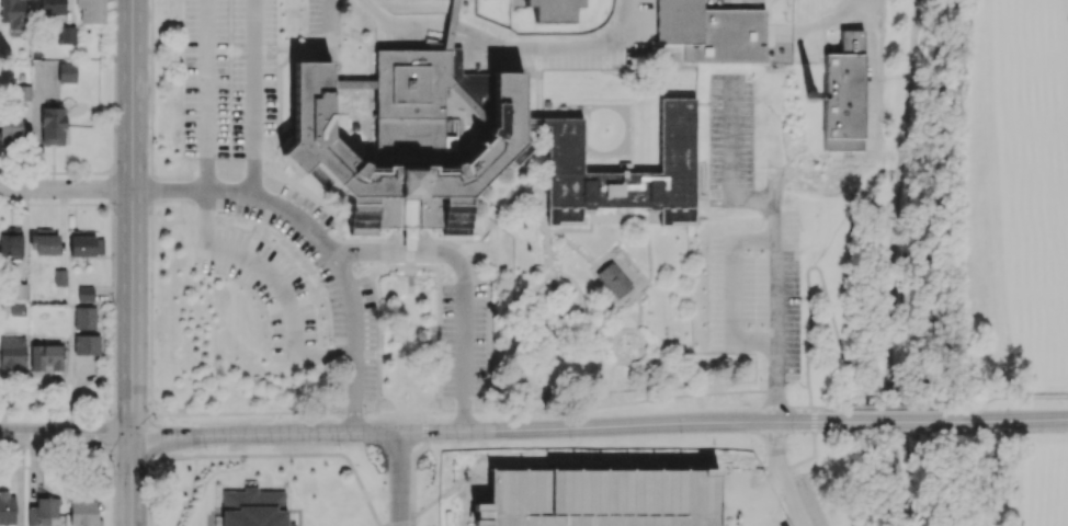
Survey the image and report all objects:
road: (718, 1)
building: (52, 7)
building: (91, 10)
building: (557, 10)
building: (13, 13)
road: (819, 23)
road: (330, 25)
building: (452, 25)
road: (383, 32)
building: (713, 32)
building: (67, 34)
road: (878, 34)
road: (366, 42)
road: (508, 44)
road: (274, 52)
building: (67, 71)
parking lot: (228, 78)
road: (636, 83)
road: (151, 88)
building: (22, 92)
road: (206, 93)
road: (254, 96)
building: (847, 98)
chimney: (811, 99)
building: (548, 102)
building: (538, 122)
building: (53, 124)
building: (10, 126)
parking lot: (729, 133)
building: (405, 140)
road: (273, 149)
road: (902, 155)
building: (628, 171)
road: (217, 172)
road: (66, 187)
road: (545, 191)
road: (774, 191)
road: (718, 194)
road: (512, 197)
park: (1005, 205)
road: (542, 210)
road: (593, 219)
road: (654, 219)
road: (340, 231)
road: (550, 231)
road: (775, 233)
road: (319, 239)
building: (410, 239)
road: (474, 239)
road: (429, 240)
building: (44, 242)
building: (10, 244)
building: (87, 244)
road: (411, 247)
road: (576, 249)
road: (549, 252)
road: (649, 252)
road: (623, 256)
road: (132, 263)
road: (431, 266)
road: (349, 267)
road: (390, 267)
building: (59, 277)
road: (464, 277)
building: (615, 278)
parking lot: (322, 279)
road: (640, 288)
building: (18, 290)
road: (580, 291)
road: (610, 291)
building: (84, 293)
road: (151, 295)
road: (489, 310)
road: (639, 310)
parking lot: (783, 313)
building: (84, 317)
road: (533, 324)
road: (623, 329)
road: (597, 331)
road: (854, 335)
parking lot: (464, 340)
road: (380, 342)
building: (87, 344)
road: (614, 347)
road: (641, 351)
building: (12, 352)
building: (50, 357)
street lamp: (113, 378)
road: (611, 379)
road: (798, 382)
road: (776, 391)
road: (688, 395)
street lamp: (383, 398)
street lamp: (434, 398)
road: (1014, 398)
road: (805, 407)
road: (899, 407)
road: (811, 408)
road: (464, 410)
road: (550, 410)
road: (432, 411)
road: (400, 412)
road: (265, 414)
road: (813, 414)
road: (155, 418)
road: (894, 418)
road: (1016, 420)
road: (900, 421)
road: (814, 425)
road: (484, 428)
street lamp: (792, 433)
road: (65, 434)
traffic signals: (130, 434)
street lamp: (680, 434)
street lamp: (570, 437)
road: (156, 438)
street lamp: (457, 442)
street lamp: (338, 445)
street lamp: (204, 447)
road: (287, 456)
road: (412, 461)
street lamp: (383, 464)
street lamp: (148, 468)
road: (618, 469)
road: (780, 476)
road: (399, 478)
park: (995, 481)
street lamp: (800, 487)
road: (150, 490)
road: (636, 491)
parking lot: (634, 499)
street lamp: (422, 501)
road: (475, 505)
building: (7, 507)
building: (43, 511)
building: (83, 512)
road: (400, 522)
road: (412, 523)

